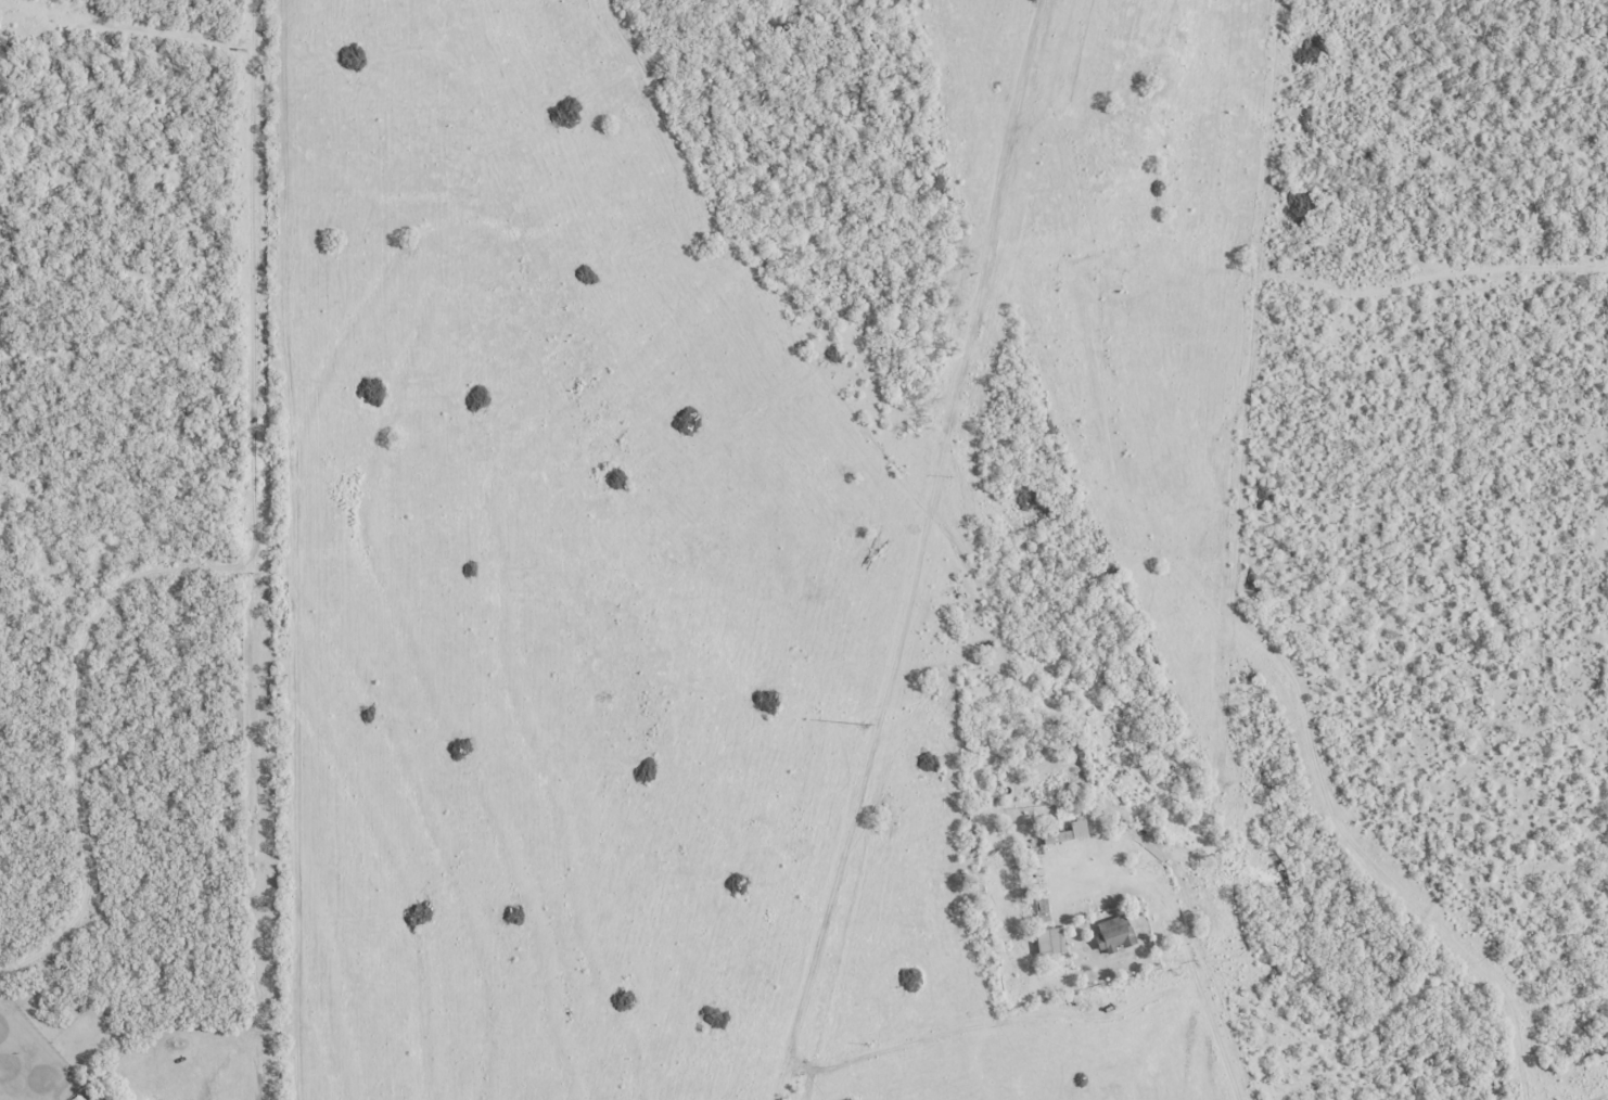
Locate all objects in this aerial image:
power tower: (952, 347)
power tower: (864, 725)
building: (1110, 933)
building: (75, 1098)

